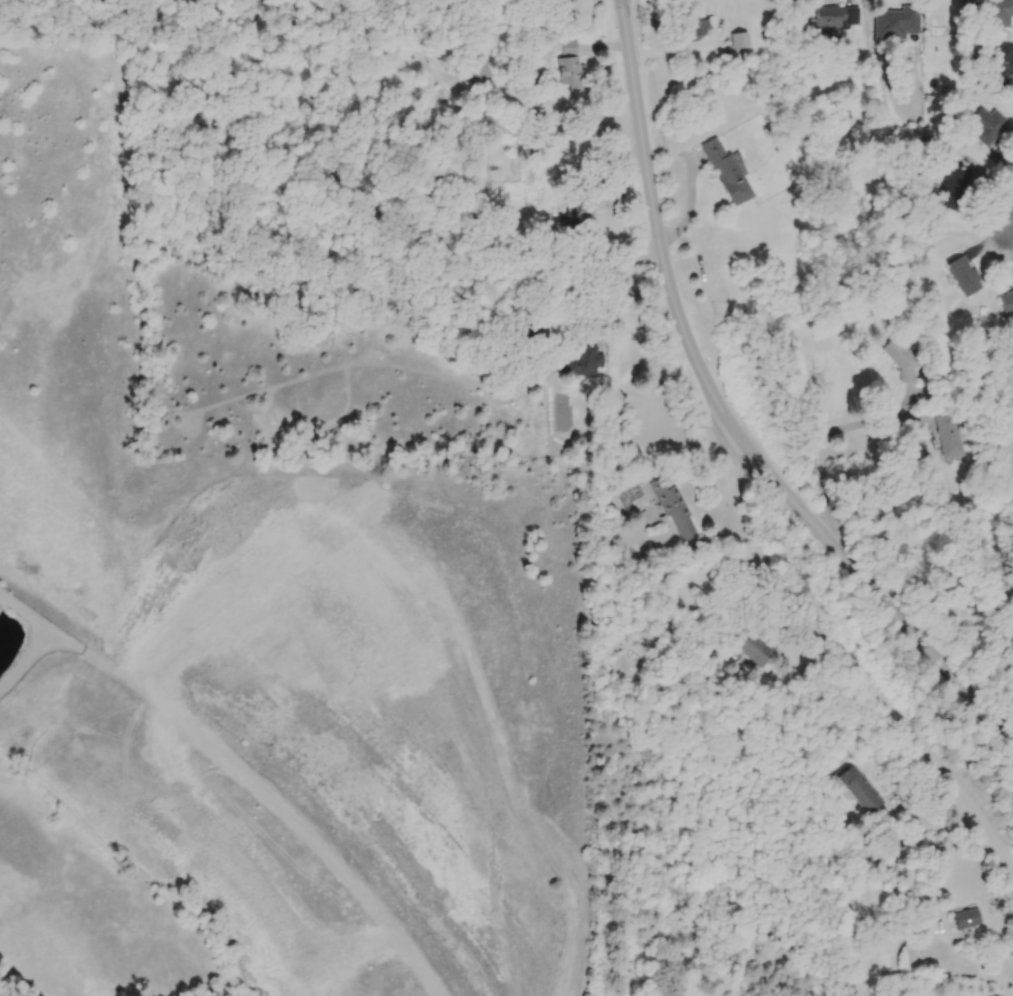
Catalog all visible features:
building: (995, 14)
building: (838, 18)
building: (897, 25)
building: (695, 29)
building: (738, 42)
building: (441, 44)
road: (691, 46)
building: (479, 68)
building: (572, 68)
building: (996, 70)
building: (990, 127)
building: (728, 172)
building: (956, 184)
building: (584, 213)
road: (1010, 232)
building: (966, 277)
road: (574, 289)
building: (1008, 305)
building: (586, 362)
road: (726, 415)
building: (951, 438)
road: (816, 445)
road: (839, 653)
building: (861, 790)
building: (966, 918)

